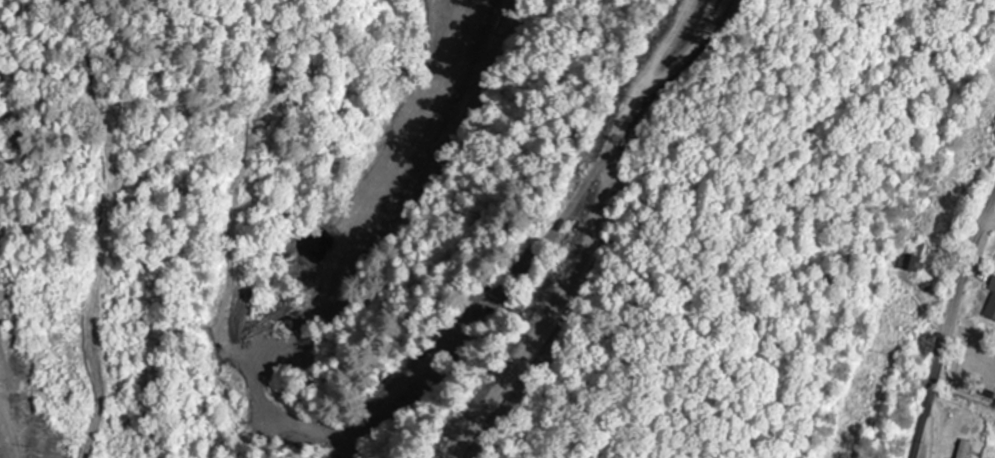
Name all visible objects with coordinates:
road: (662, 83)
building: (909, 264)
building: (990, 300)
road: (942, 317)
building: (958, 448)

